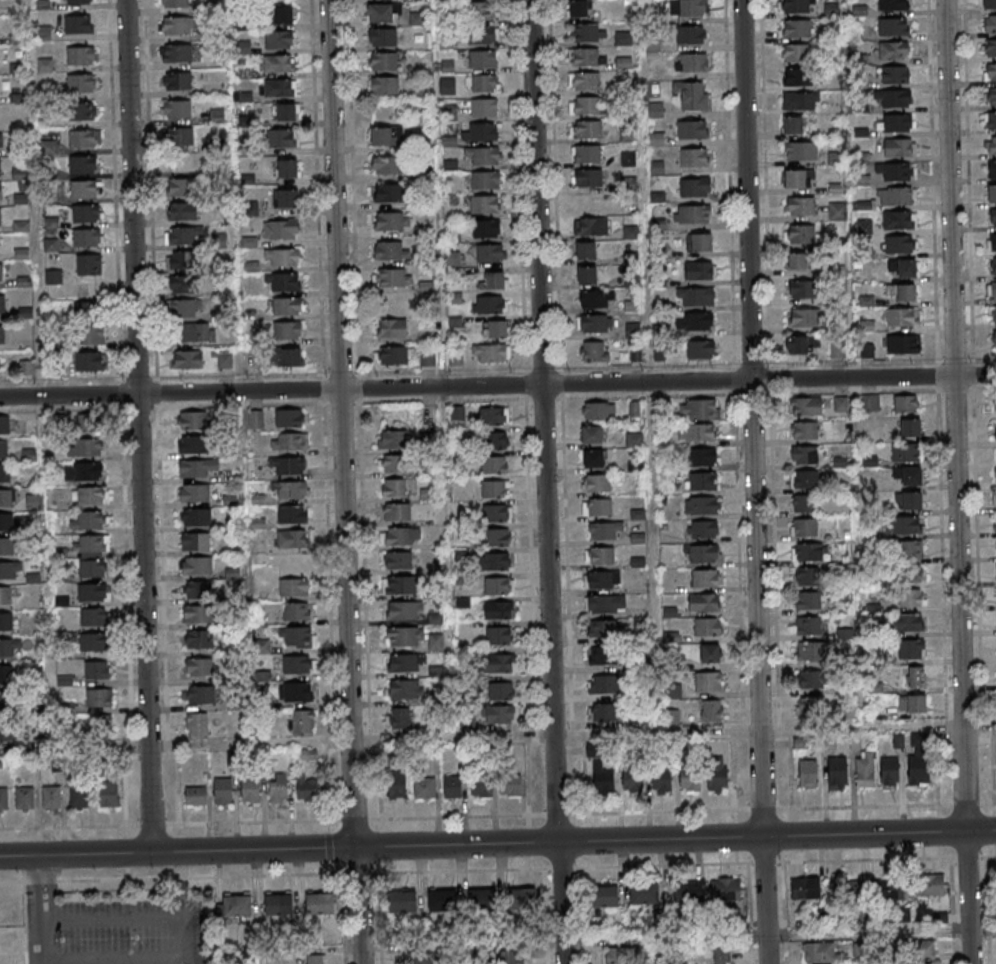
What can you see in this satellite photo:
building: (77, 2)
building: (174, 3)
building: (892, 4)
building: (988, 4)
building: (795, 6)
building: (691, 8)
building: (579, 9)
building: (832, 10)
building: (380, 12)
building: (477, 12)
building: (283, 14)
building: (990, 23)
building: (78, 24)
building: (178, 26)
building: (892, 26)
building: (797, 29)
building: (589, 33)
building: (690, 35)
building: (481, 36)
building: (383, 37)
building: (279, 39)
building: (624, 39)
building: (988, 47)
building: (652, 49)
building: (893, 50)
building: (177, 52)
building: (796, 52)
building: (80, 56)
building: (586, 57)
building: (483, 60)
building: (382, 61)
building: (278, 63)
building: (691, 63)
building: (990, 72)
building: (894, 75)
building: (796, 76)
building: (177, 81)
building: (584, 82)
building: (81, 83)
building: (485, 84)
building: (383, 85)
building: (447, 86)
building: (278, 87)
building: (990, 96)
building: (692, 97)
building: (893, 98)
building: (801, 100)
building: (585, 107)
building: (488, 108)
building: (176, 109)
building: (84, 111)
building: (285, 112)
building: (990, 120)
building: (895, 122)
building: (792, 125)
building: (693, 130)
building: (587, 131)
building: (480, 133)
building: (181, 136)
building: (283, 137)
building: (84, 138)
building: (656, 139)
building: (449, 141)
building: (1, 142)
building: (990, 144)
building: (898, 147)
building: (801, 150)
building: (587, 154)
building: (482, 156)
building: (694, 158)
building: (84, 164)
building: (386, 164)
building: (450, 164)
building: (0, 167)
building: (287, 168)
building: (991, 169)
building: (895, 171)
building: (588, 178)
building: (799, 178)
building: (485, 181)
building: (694, 187)
building: (181, 188)
building: (85, 190)
building: (0, 191)
building: (389, 193)
building: (990, 193)
building: (896, 195)
building: (285, 198)
building: (485, 205)
building: (800, 206)
building: (838, 211)
building: (182, 213)
building: (693, 214)
building: (86, 215)
building: (0, 217)
building: (992, 217)
building: (899, 219)
building: (392, 221)
building: (864, 226)
building: (591, 228)
building: (486, 229)
building: (281, 230)
building: (803, 234)
building: (184, 236)
building: (87, 239)
building: (699, 242)
building: (991, 242)
building: (900, 244)
building: (390, 251)
building: (585, 251)
building: (491, 253)
building: (282, 258)
building: (797, 260)
building: (182, 262)
building: (992, 265)
building: (88, 266)
building: (902, 268)
building: (700, 270)
building: (1, 272)
building: (584, 276)
building: (392, 278)
building: (495, 280)
building: (283, 282)
building: (182, 285)
building: (802, 289)
building: (991, 290)
building: (902, 291)
building: (695, 296)
building: (595, 299)
building: (2, 304)
building: (489, 305)
building: (287, 306)
building: (186, 309)
building: (89, 311)
building: (992, 314)
building: (901, 316)
building: (804, 317)
building: (696, 321)
building: (595, 323)
building: (392, 329)
building: (495, 329)
building: (287, 330)
building: (197, 333)
building: (2, 334)
building: (91, 336)
building: (993, 340)
building: (903, 343)
building: (802, 345)
building: (700, 349)
building: (837, 349)
building: (866, 350)
building: (594, 351)
building: (491, 353)
building: (394, 356)
building: (289, 357)
building: (427, 358)
building: (456, 358)
building: (187, 359)
building: (225, 359)
building: (88, 362)
building: (26, 368)
road: (497, 385)
building: (995, 402)
building: (871, 403)
building: (906, 403)
building: (840, 404)
building: (806, 406)
building: (699, 410)
building: (599, 411)
building: (458, 414)
building: (492, 416)
building: (289, 418)
building: (192, 420)
building: (88, 423)
building: (4, 424)
road: (138, 426)
building: (910, 427)
building: (805, 430)
building: (995, 431)
building: (697, 433)
building: (591, 435)
building: (392, 440)
building: (495, 440)
building: (634, 440)
building: (289, 442)
building: (194, 444)
building: (84, 447)
building: (4, 449)
building: (906, 452)
building: (804, 455)
building: (702, 457)
building: (594, 460)
building: (394, 464)
building: (494, 464)
building: (287, 466)
building: (196, 468)
building: (83, 471)
building: (4, 473)
building: (995, 474)
building: (907, 476)
building: (804, 479)
building: (702, 481)
road: (343, 482)
road: (544, 482)
road: (753, 482)
road: (956, 482)
building: (597, 484)
building: (394, 488)
building: (495, 489)
building: (289, 491)
building: (194, 493)
building: (90, 495)
building: (6, 497)
building: (994, 499)
building: (910, 501)
building: (34, 502)
building: (804, 503)
building: (700, 505)
building: (600, 508)
building: (396, 512)
building: (496, 513)
building: (291, 515)
building: (195, 517)
building: (88, 520)
building: (9, 521)
building: (908, 524)
building: (995, 527)
building: (703, 529)
building: (805, 529)
building: (604, 531)
building: (403, 536)
building: (495, 537)
building: (292, 539)
building: (195, 541)
building: (6, 546)
building: (910, 548)
building: (705, 554)
building: (804, 554)
building: (92, 556)
building: (600, 556)
building: (398, 560)
building: (496, 561)
building: (197, 566)
building: (9, 570)
building: (995, 572)
building: (912, 573)
building: (806, 577)
building: (705, 579)
building: (602, 580)
building: (403, 585)
building: (499, 585)
building: (293, 587)
building: (197, 591)
building: (91, 592)
building: (7, 595)
building: (912, 597)
building: (808, 601)
building: (606, 604)
building: (703, 604)
building: (498, 610)
building: (404, 611)
building: (296, 612)
building: (198, 615)
building: (93, 617)
building: (6, 621)
building: (995, 621)
building: (907, 622)
building: (809, 626)
building: (708, 628)
building: (601, 630)
building: (845, 633)
building: (499, 635)
building: (296, 637)
building: (404, 638)
building: (201, 640)
building: (93, 642)
building: (6, 648)
building: (915, 649)
building: (812, 652)
building: (709, 655)
building: (601, 657)
building: (404, 663)
building: (501, 663)
building: (296, 665)
building: (200, 668)
building: (96, 670)
building: (6, 674)
building: (914, 678)
building: (811, 680)
building: (707, 683)
building: (603, 685)
building: (405, 689)
building: (501, 691)
building: (295, 693)
building: (201, 696)
building: (98, 699)
building: (6, 700)
building: (912, 705)
building: (811, 708)
building: (711, 711)
building: (604, 713)
building: (498, 715)
building: (399, 718)
building: (672, 718)
building: (302, 721)
building: (197, 726)
building: (95, 729)
building: (5, 730)
building: (865, 769)
building: (918, 770)
building: (889, 771)
building: (836, 772)
building: (807, 774)
building: (716, 775)
building: (631, 778)
building: (602, 779)
building: (661, 779)
building: (690, 780)
building: (511, 785)
building: (396, 786)
building: (425, 787)
building: (452, 787)
building: (278, 788)
building: (306, 788)
building: (482, 788)
building: (250, 790)
building: (222, 791)
building: (108, 793)
building: (195, 795)
building: (79, 796)
building: (51, 797)
building: (24, 798)
building: (4, 799)
road: (498, 816)
road: (497, 843)
road: (497, 869)
building: (929, 884)
road: (41, 886)
building: (726, 888)
building: (805, 888)
building: (890, 889)
building: (688, 891)
building: (839, 891)
building: (643, 892)
building: (604, 895)
building: (484, 900)
building: (442, 901)
building: (523, 901)
building: (401, 902)
building: (278, 905)
building: (320, 905)
building: (237, 907)
road: (136, 916)
road: (881, 931)
road: (41, 941)
road: (868, 948)
building: (924, 950)
building: (821, 953)
building: (511, 956)
building: (621, 956)
building: (722, 957)
road: (114, 958)
building: (422, 959)
building: (313, 960)

